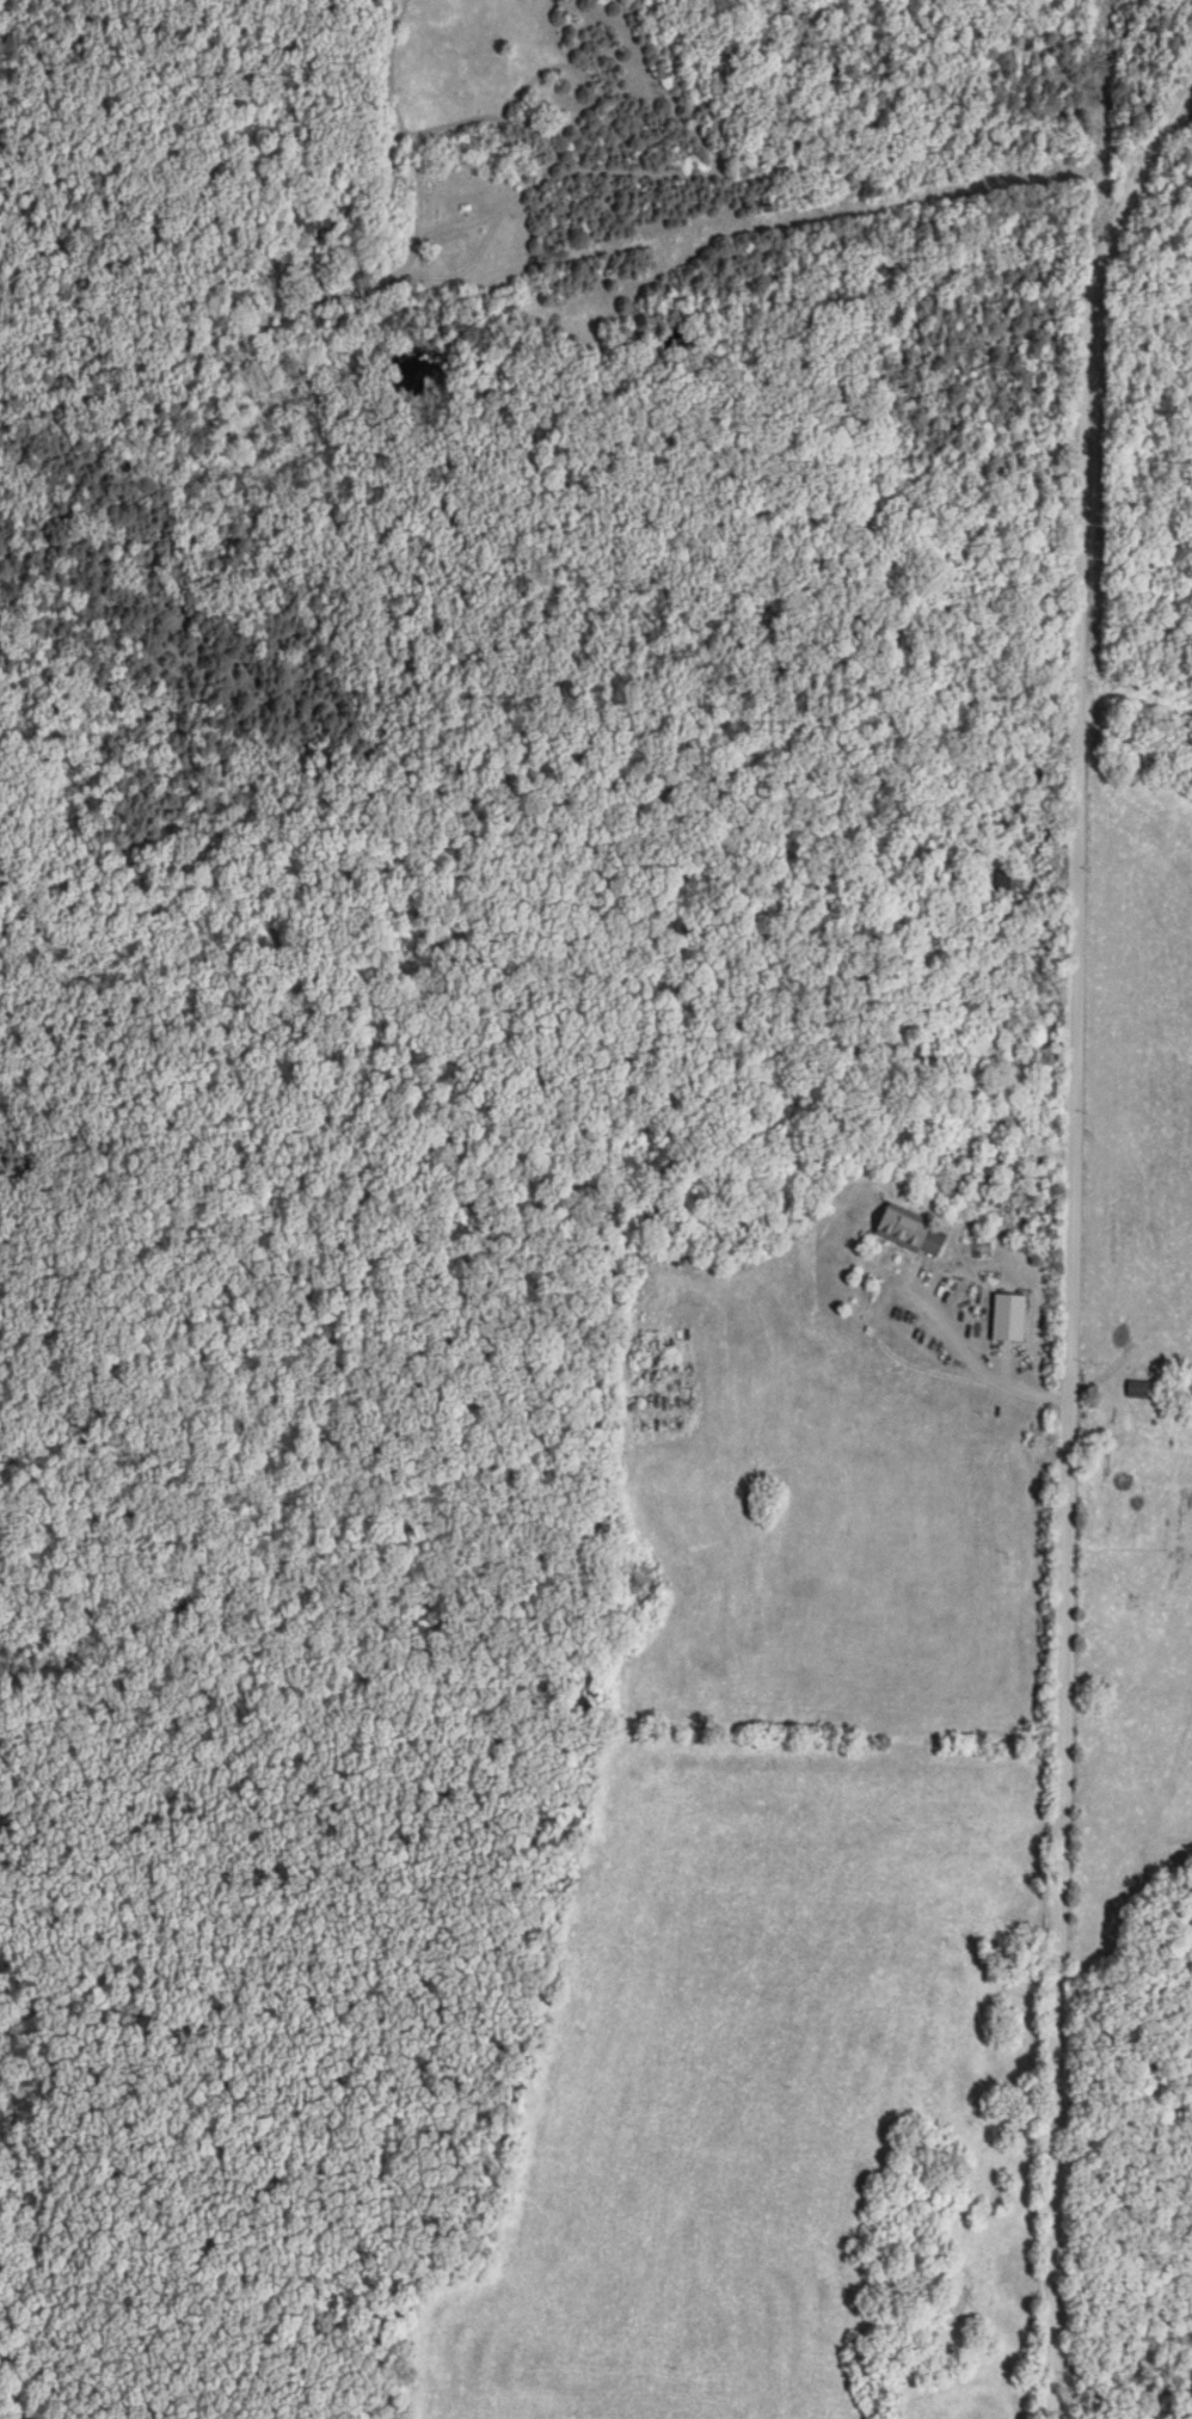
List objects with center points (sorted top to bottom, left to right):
building: (910, 1230)
road: (1071, 1242)
building: (1012, 1319)

